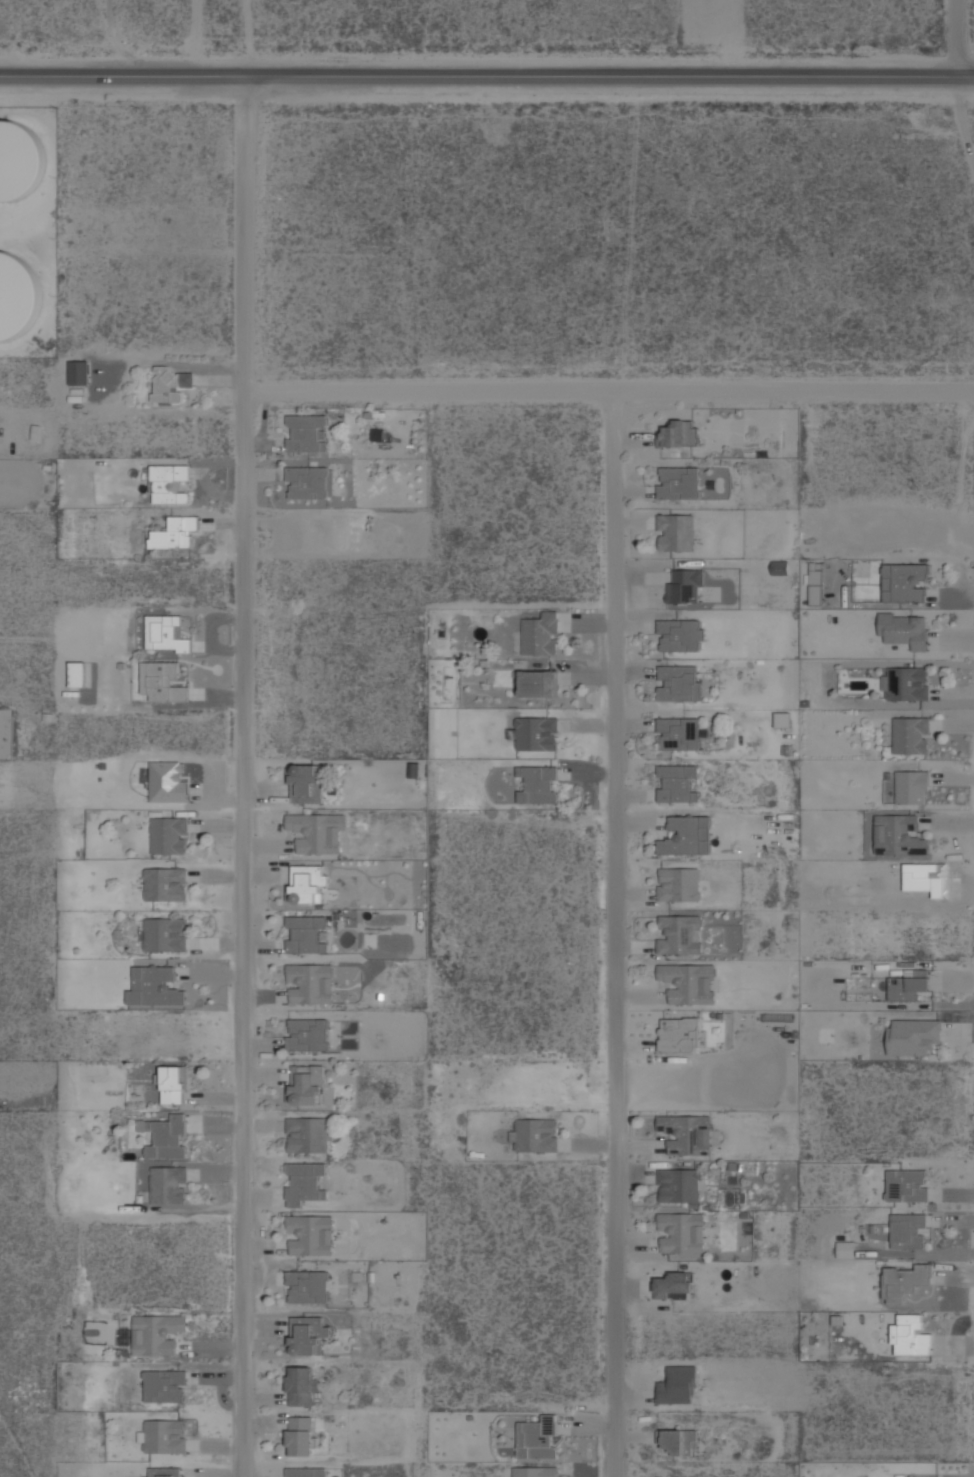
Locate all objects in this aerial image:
road: (955, 37)
road: (487, 74)
building: (19, 159)
road: (250, 233)
building: (16, 295)
building: (79, 372)
building: (174, 385)
road: (608, 391)
building: (679, 432)
building: (308, 433)
building: (310, 481)
building: (678, 481)
building: (169, 482)
building: (178, 531)
building: (675, 532)
building: (781, 566)
building: (904, 581)
building: (815, 583)
building: (685, 586)
building: (904, 628)
building: (165, 632)
building: (541, 634)
building: (680, 634)
building: (78, 673)
building: (162, 680)
building: (539, 682)
building: (678, 683)
building: (905, 683)
building: (782, 719)
building: (536, 733)
building: (678, 733)
building: (911, 734)
building: (677, 782)
building: (306, 783)
building: (538, 783)
building: (912, 785)
building: (317, 832)
building: (899, 834)
building: (168, 835)
building: (686, 835)
building: (165, 883)
building: (678, 883)
building: (309, 884)
building: (302, 933)
building: (162, 934)
road: (244, 934)
road: (613, 934)
building: (679, 934)
building: (688, 982)
building: (310, 983)
building: (908, 984)
building: (154, 986)
building: (307, 1034)
building: (679, 1034)
building: (913, 1035)
building: (174, 1084)
building: (307, 1084)
building: (686, 1133)
building: (307, 1134)
building: (534, 1135)
building: (166, 1136)
building: (303, 1182)
building: (168, 1184)
building: (679, 1184)
building: (907, 1185)
building: (908, 1230)
building: (682, 1232)
building: (310, 1235)
building: (845, 1249)
building: (902, 1281)
building: (307, 1286)
building: (157, 1333)
building: (124, 1334)
building: (306, 1334)
building: (910, 1335)
building: (165, 1385)
building: (301, 1385)
building: (678, 1385)
building: (163, 1435)
building: (299, 1435)
building: (538, 1438)
building: (680, 1441)
building: (163, 1471)
building: (534, 1471)
building: (306, 1472)

